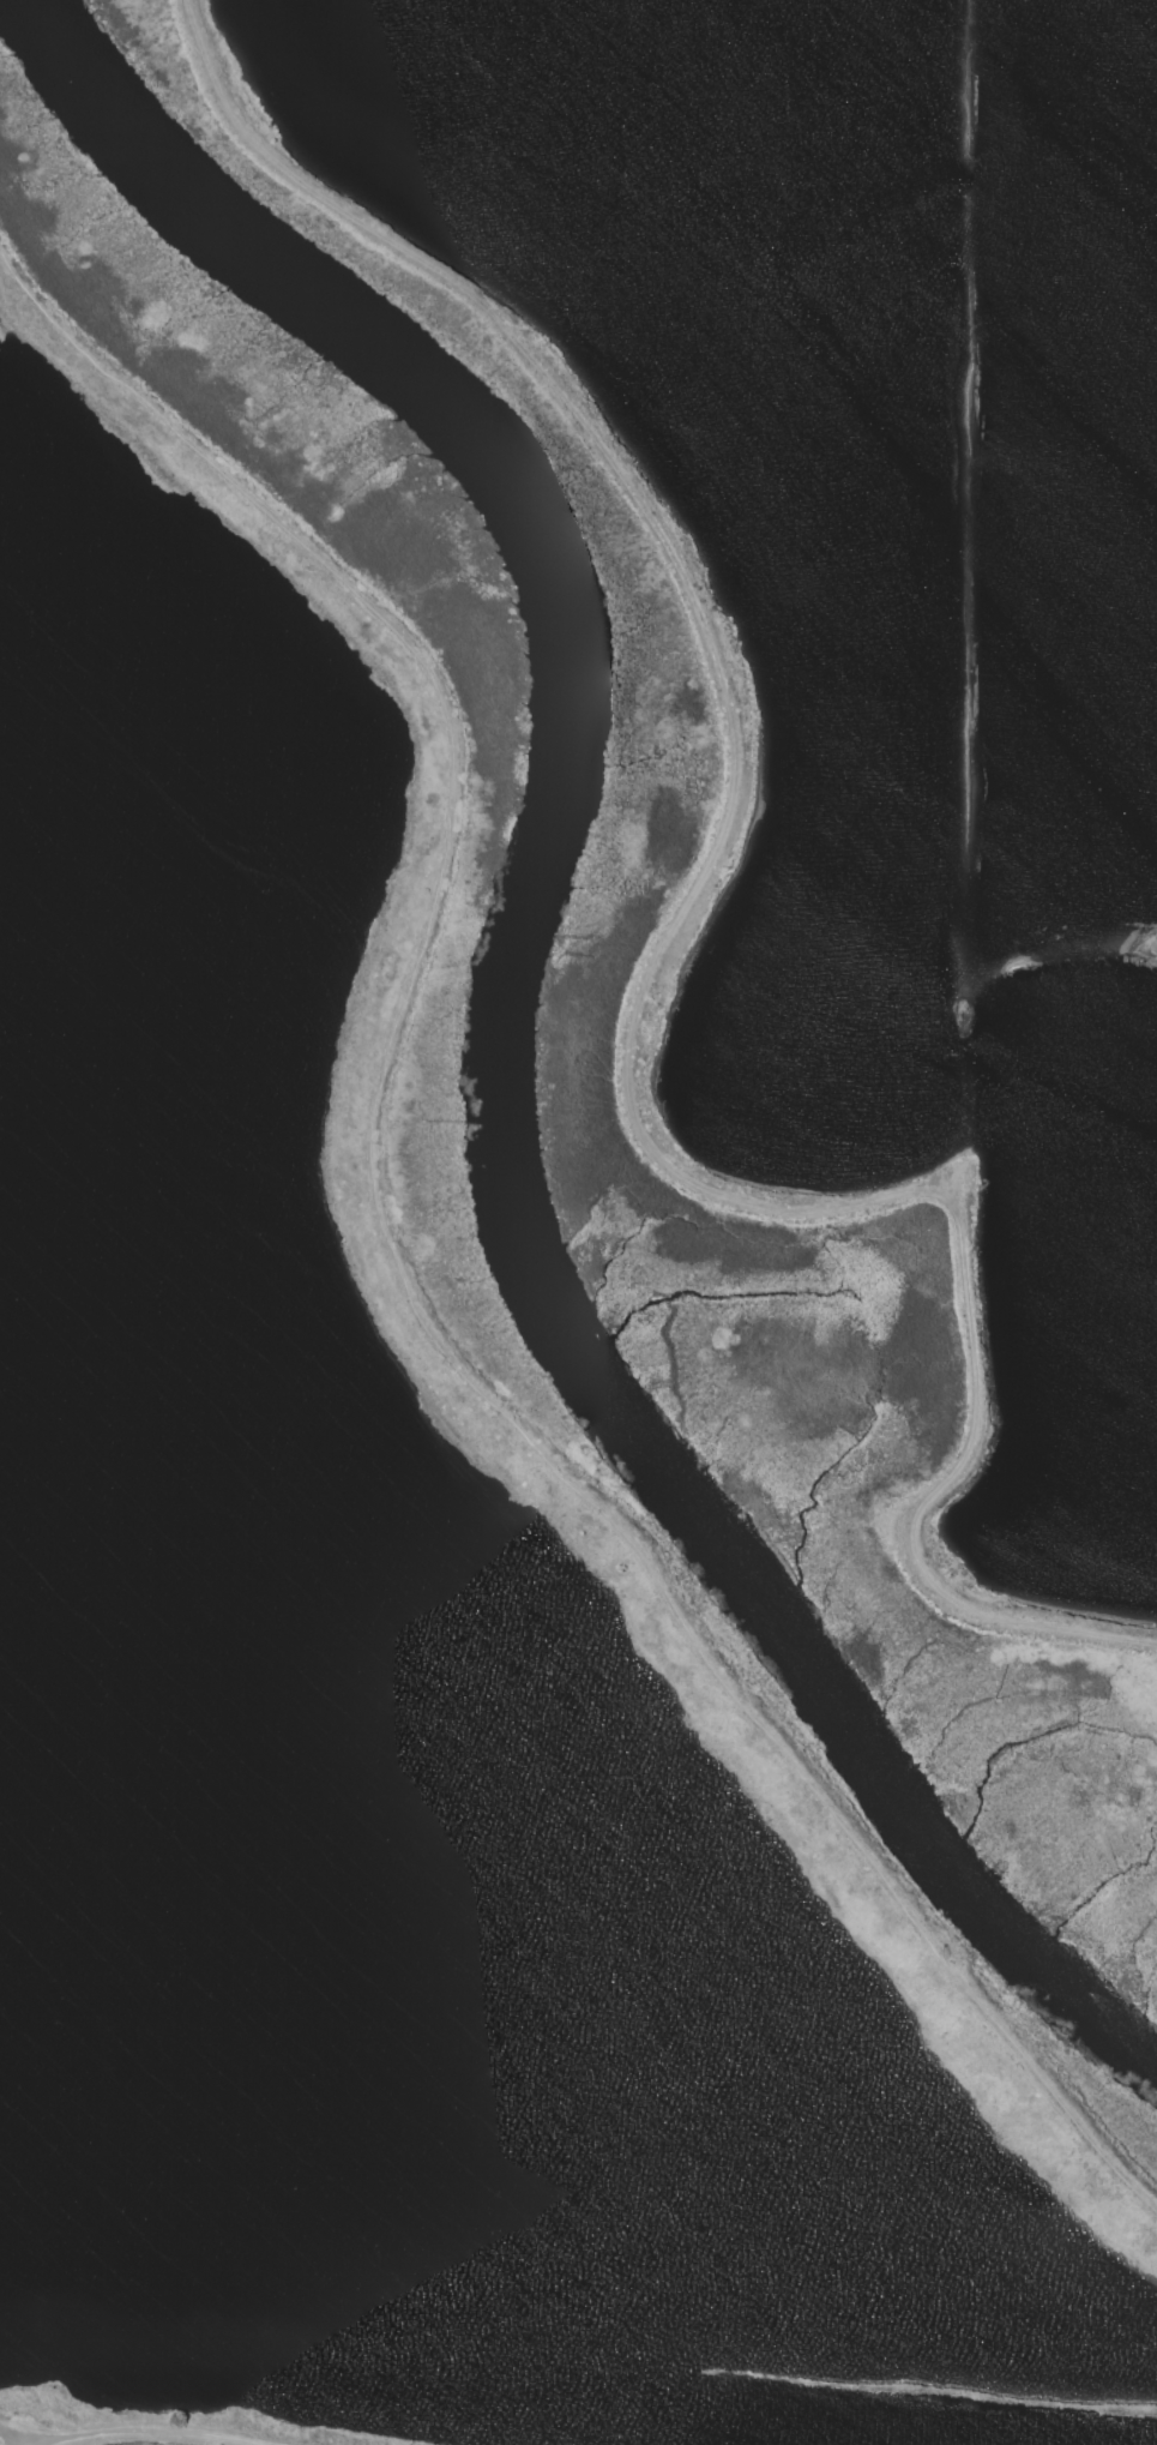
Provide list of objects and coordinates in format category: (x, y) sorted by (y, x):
road: (658, 950)
river: (502, 1040)
road: (394, 1263)
road: (146, 2432)
road: (14, 2434)

